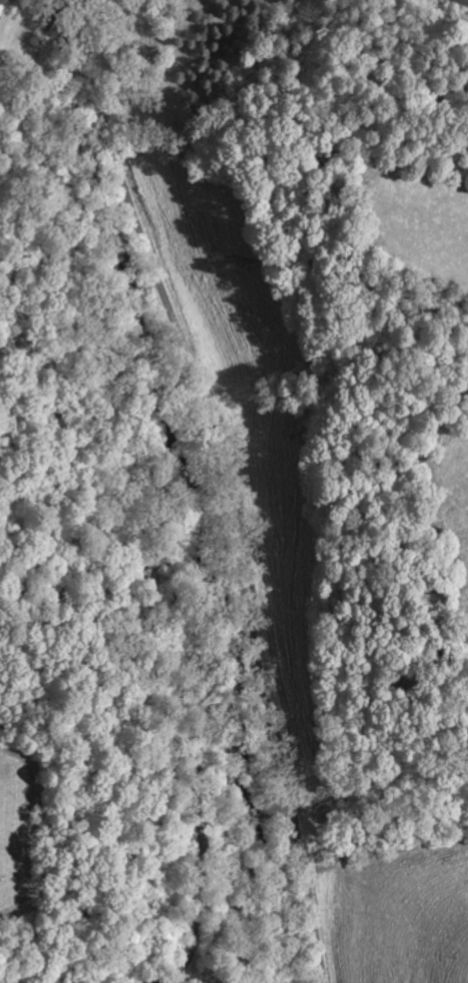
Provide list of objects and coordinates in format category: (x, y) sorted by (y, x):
road: (230, 482)
road: (388, 854)
road: (202, 871)

